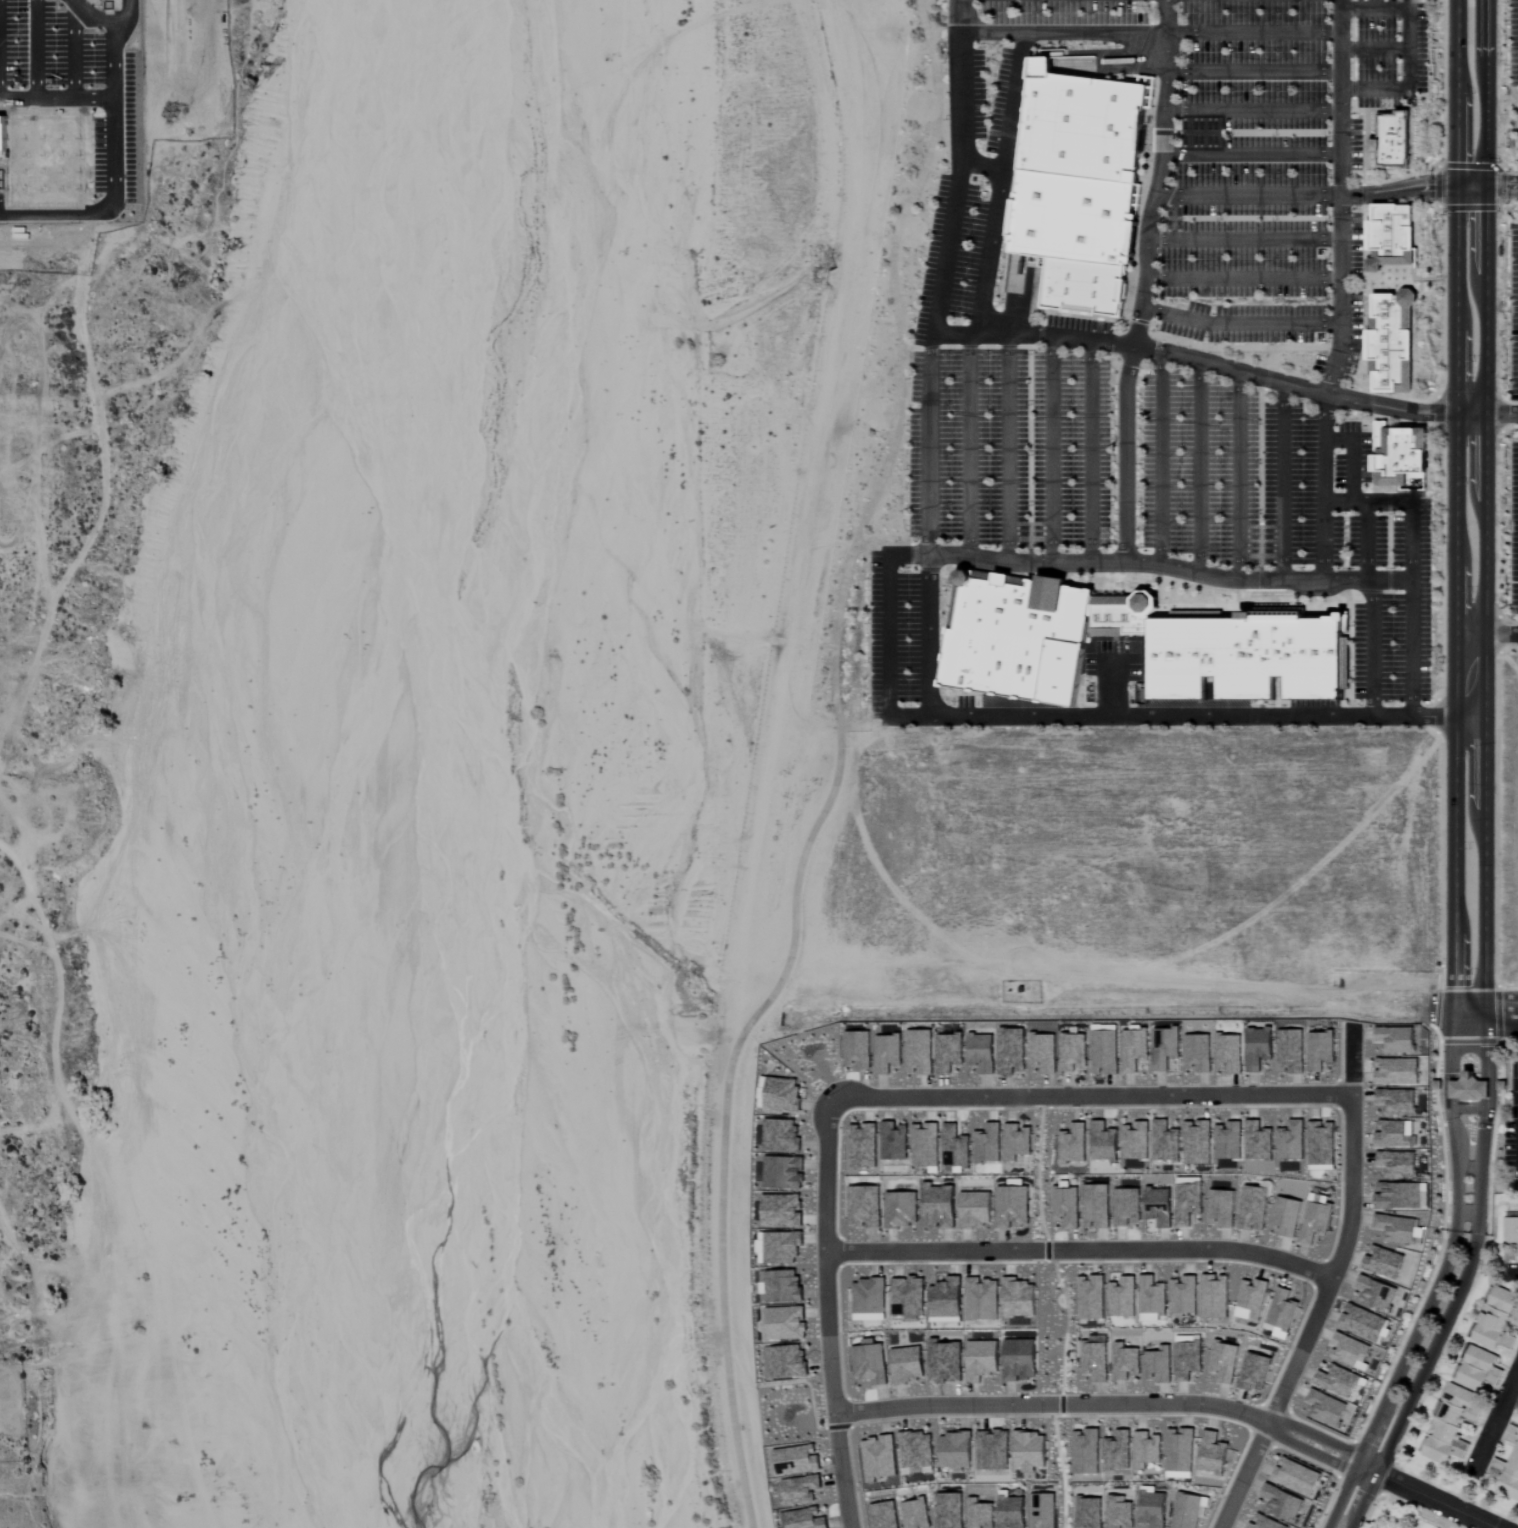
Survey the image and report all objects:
road: (1151, 0)
road: (1351, 0)
road: (1151, 13)
road: (1166, 16)
road: (1254, 33)
parking lot: (1513, 43)
road: (1374, 48)
road: (1351, 49)
road: (1141, 50)
road: (1408, 50)
road: (1131, 58)
road: (1254, 71)
road: (1496, 84)
road: (1154, 92)
road: (1341, 98)
road: (929, 109)
road: (1254, 110)
road: (1166, 119)
building: (1079, 120)
road: (1442, 122)
road: (1161, 132)
road: (1251, 132)
road: (1361, 137)
road: (1409, 138)
building: (1391, 139)
road: (1005, 152)
road: (1252, 155)
road: (982, 165)
road: (1468, 165)
road: (1508, 171)
road: (1146, 183)
road: (1428, 185)
traffic signals: (1469, 185)
road: (1437, 186)
road: (1500, 187)
road: (1248, 195)
road: (1362, 195)
road: (1508, 203)
road: (1468, 207)
road: (1244, 218)
building: (1069, 221)
road: (1147, 226)
road: (904, 230)
building: (1389, 236)
road: (1244, 239)
road: (1244, 278)
road: (1402, 280)
building: (1084, 286)
road: (1031, 294)
parking lot: (1514, 311)
road: (1127, 318)
road: (1121, 321)
road: (1139, 321)
road: (1241, 323)
road: (1040, 334)
road: (1032, 335)
building: (1391, 341)
road: (968, 346)
road: (1023, 346)
road: (1035, 346)
road: (912, 347)
road: (1231, 348)
road: (1177, 355)
road: (929, 357)
road: (1272, 359)
parking lot: (1153, 375)
road: (1267, 379)
road: (1330, 388)
road: (1401, 398)
road: (1471, 415)
road: (1513, 415)
road: (890, 416)
road: (1372, 421)
road: (1505, 429)
road: (1030, 434)
road: (969, 445)
road: (1008, 449)
road: (1052, 449)
road: (1090, 451)
road: (1260, 456)
building: (1399, 456)
road: (1352, 457)
road: (1160, 458)
road: (1199, 468)
road: (1239, 476)
road: (1283, 482)
road: (1394, 490)
road: (1407, 502)
road: (1469, 507)
parking lot: (1513, 528)
road: (883, 542)
road: (1366, 542)
road: (1030, 548)
road: (1389, 556)
road: (1260, 558)
road: (1026, 563)
road: (912, 568)
road: (1442, 572)
road: (1315, 581)
road: (1194, 585)
road: (1354, 594)
road: (1271, 600)
road: (1495, 607)
road: (888, 617)
road: (1412, 628)
road: (1493, 633)
building: (1031, 635)
road: (1505, 649)
building: (1250, 657)
road: (1111, 658)
road: (1162, 716)
road: (1452, 716)
road: (1437, 717)
river: (453, 763)
road: (838, 766)
road: (1441, 862)
road: (1472, 990)
road: (1504, 1014)
road: (1441, 1015)
road: (1492, 1015)
building: (1397, 1039)
road: (1511, 1039)
road: (1473, 1040)
building: (1165, 1048)
building: (1259, 1048)
building: (1135, 1049)
building: (858, 1050)
building: (1011, 1051)
building: (1321, 1051)
building: (920, 1052)
building: (1105, 1052)
building: (1290, 1052)
building: (887, 1053)
building: (949, 1053)
building: (1044, 1053)
building: (1074, 1053)
building: (1198, 1053)
building: (1229, 1053)
building: (982, 1054)
road: (1500, 1058)
building: (1398, 1072)
building: (1436, 1084)
building: (1501, 1084)
building: (1468, 1087)
building: (782, 1095)
road: (1080, 1095)
building: (1398, 1101)
building: (780, 1136)
building: (1136, 1141)
building: (1228, 1141)
building: (1258, 1141)
building: (1409, 1141)
building: (893, 1142)
building: (1017, 1142)
building: (1165, 1142)
building: (1291, 1142)
building: (1104, 1143)
building: (1197, 1143)
building: (1073, 1144)
building: (988, 1145)
building: (863, 1146)
building: (925, 1146)
road: (1421, 1146)
building: (955, 1148)
building: (1398, 1164)
building: (783, 1173)
building: (1397, 1197)
building: (1188, 1204)
building: (864, 1207)
building: (939, 1207)
building: (1013, 1207)
building: (1067, 1207)
building: (1096, 1207)
building: (1127, 1207)
building: (1159, 1208)
building: (1222, 1209)
building: (1254, 1209)
building: (901, 1210)
building: (976, 1210)
building: (782, 1211)
road: (1468, 1216)
building: (1286, 1217)
building: (1316, 1219)
building: (1397, 1229)
building: (781, 1248)
road: (1081, 1248)
road: (1484, 1249)
building: (1384, 1263)
road: (1513, 1274)
road: (1464, 1280)
road: (1441, 1281)
building: (783, 1287)
building: (1377, 1294)
building: (1184, 1296)
building: (869, 1297)
building: (908, 1297)
building: (1215, 1297)
building: (1019, 1298)
building: (1091, 1298)
building: (1122, 1298)
building: (947, 1299)
building: (1152, 1299)
building: (982, 1300)
building: (1252, 1300)
building: (1283, 1310)
building: (1498, 1320)
building: (786, 1323)
building: (1363, 1323)
building: (1350, 1350)
road: (65, 1355)
building: (982, 1360)
building: (1020, 1360)
building: (1095, 1361)
building: (1188, 1361)
building: (1224, 1361)
building: (787, 1362)
building: (945, 1362)
building: (1125, 1362)
building: (870, 1363)
building: (908, 1365)
building: (1159, 1365)
building: (1480, 1370)
building: (1255, 1372)
building: (1338, 1382)
road: (1514, 1392)
road: (1101, 1406)
building: (1326, 1409)
road: (1494, 1424)
road: (1270, 1425)
building: (1450, 1427)
road: (837, 1441)
building: (992, 1449)
building: (1147, 1449)
building: (956, 1450)
building: (1030, 1450)
building: (1086, 1450)
building: (1118, 1450)
building: (1180, 1450)
building: (1213, 1453)
building: (879, 1457)
building: (795, 1459)
building: (1508, 1468)
building: (1297, 1476)
building: (800, 1489)
road: (1427, 1497)
building: (1282, 1503)
building: (1153, 1509)
building: (950, 1510)
building: (1043, 1510)
building: (1189, 1510)
building: (1012, 1512)
building: (1089, 1512)
building: (1120, 1512)
building: (916, 1514)
building: (980, 1514)
building: (885, 1515)
building: (805, 1518)
building: (1265, 1522)

